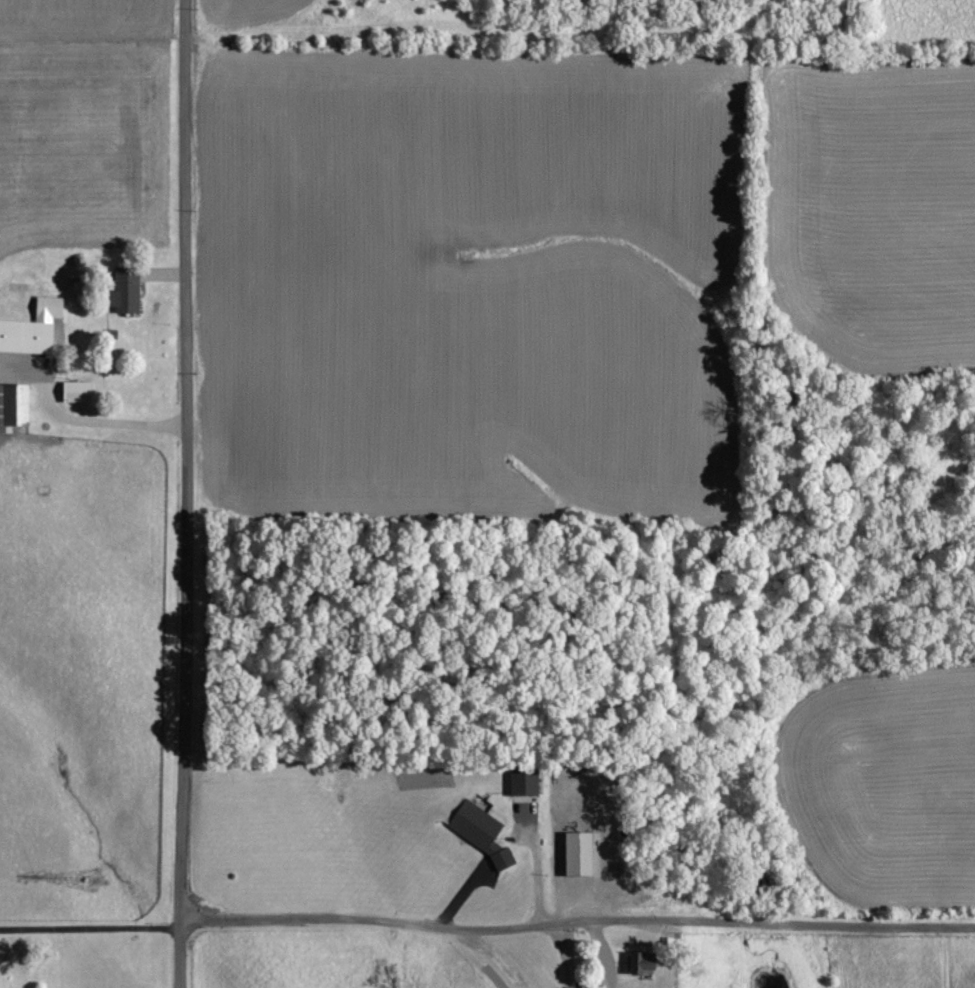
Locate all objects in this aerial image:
building: (131, 289)
building: (36, 329)
building: (82, 391)
building: (18, 404)
road: (79, 424)
road: (185, 494)
building: (485, 832)
building: (582, 854)
power tower: (106, 880)
road: (574, 923)
road: (88, 929)
road: (600, 955)
building: (645, 963)

